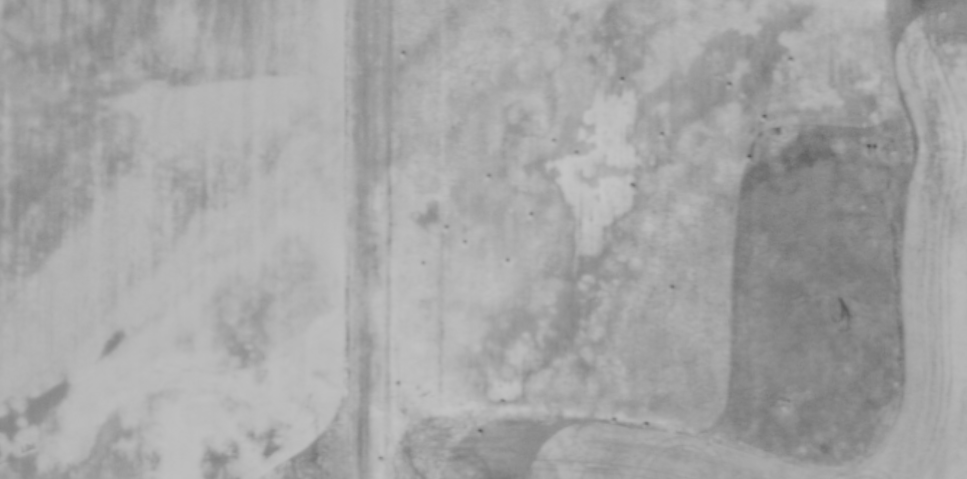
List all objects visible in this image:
building: (442, 5)
road: (364, 239)

